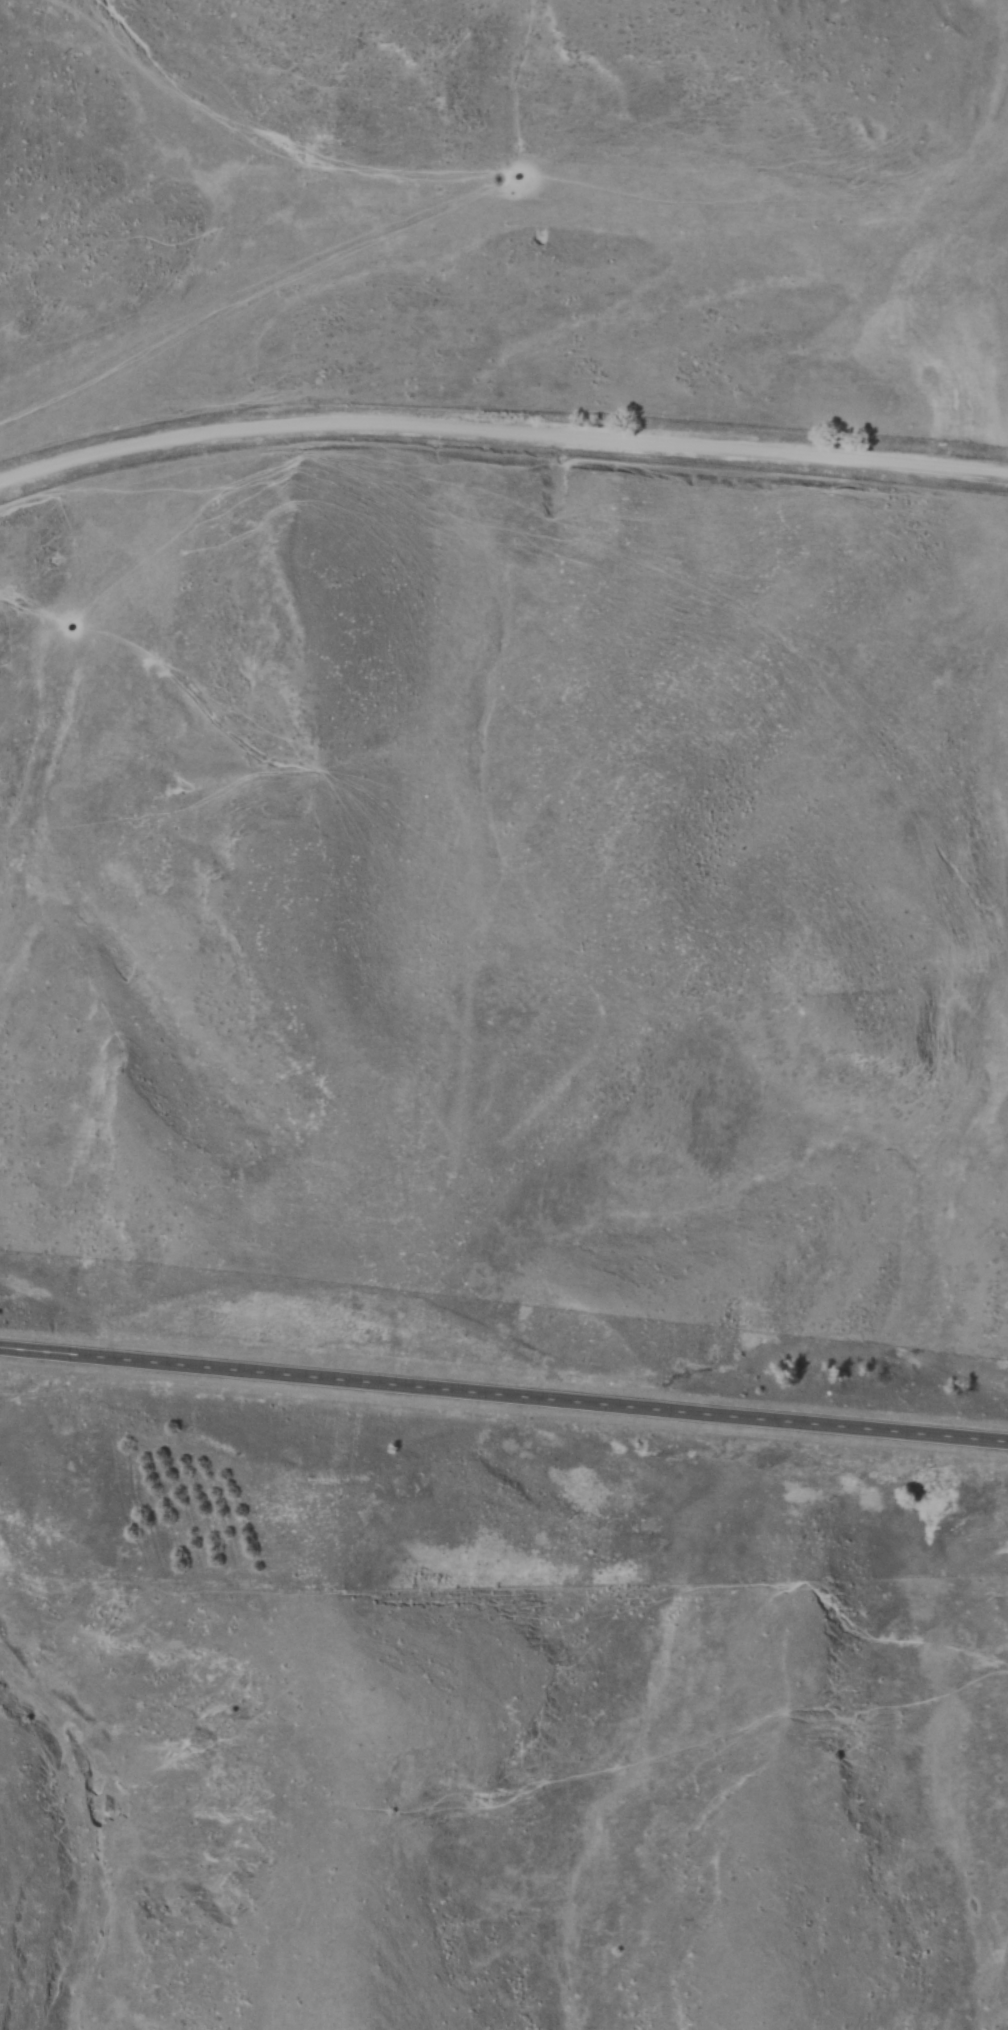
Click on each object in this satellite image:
road: (501, 433)
road: (503, 1401)

